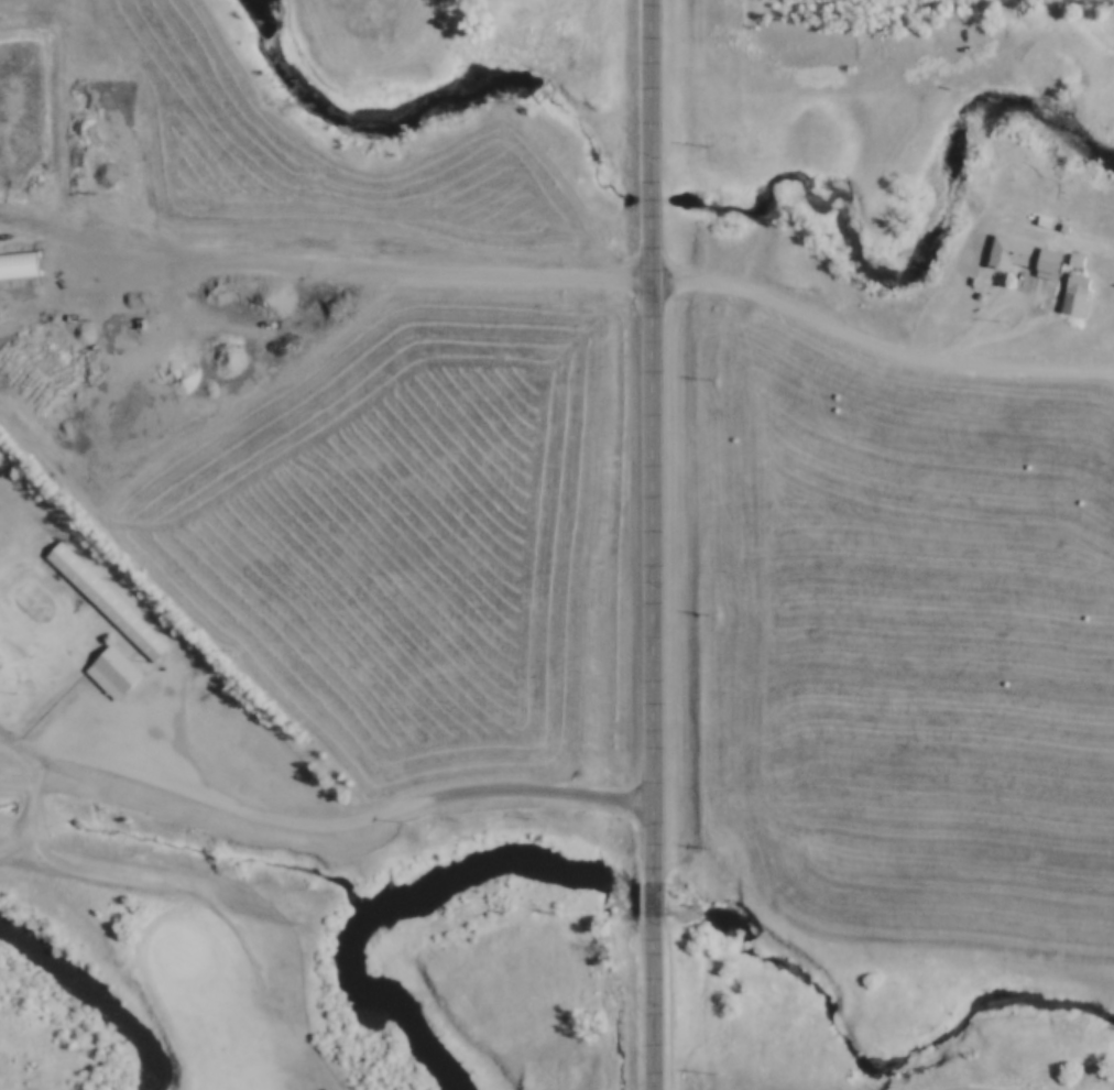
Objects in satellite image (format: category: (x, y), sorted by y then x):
building: (1006, 10)
building: (1035, 217)
building: (1055, 224)
building: (1003, 251)
building: (1067, 257)
building: (1044, 262)
road: (439, 272)
building: (1069, 280)
road: (878, 341)
road: (655, 438)
building: (99, 601)
building: (108, 672)
road: (25, 751)
road: (40, 807)
road: (351, 820)
park: (130, 841)
road: (159, 887)
road: (655, 895)
road: (654, 1001)
road: (1001, 1073)

